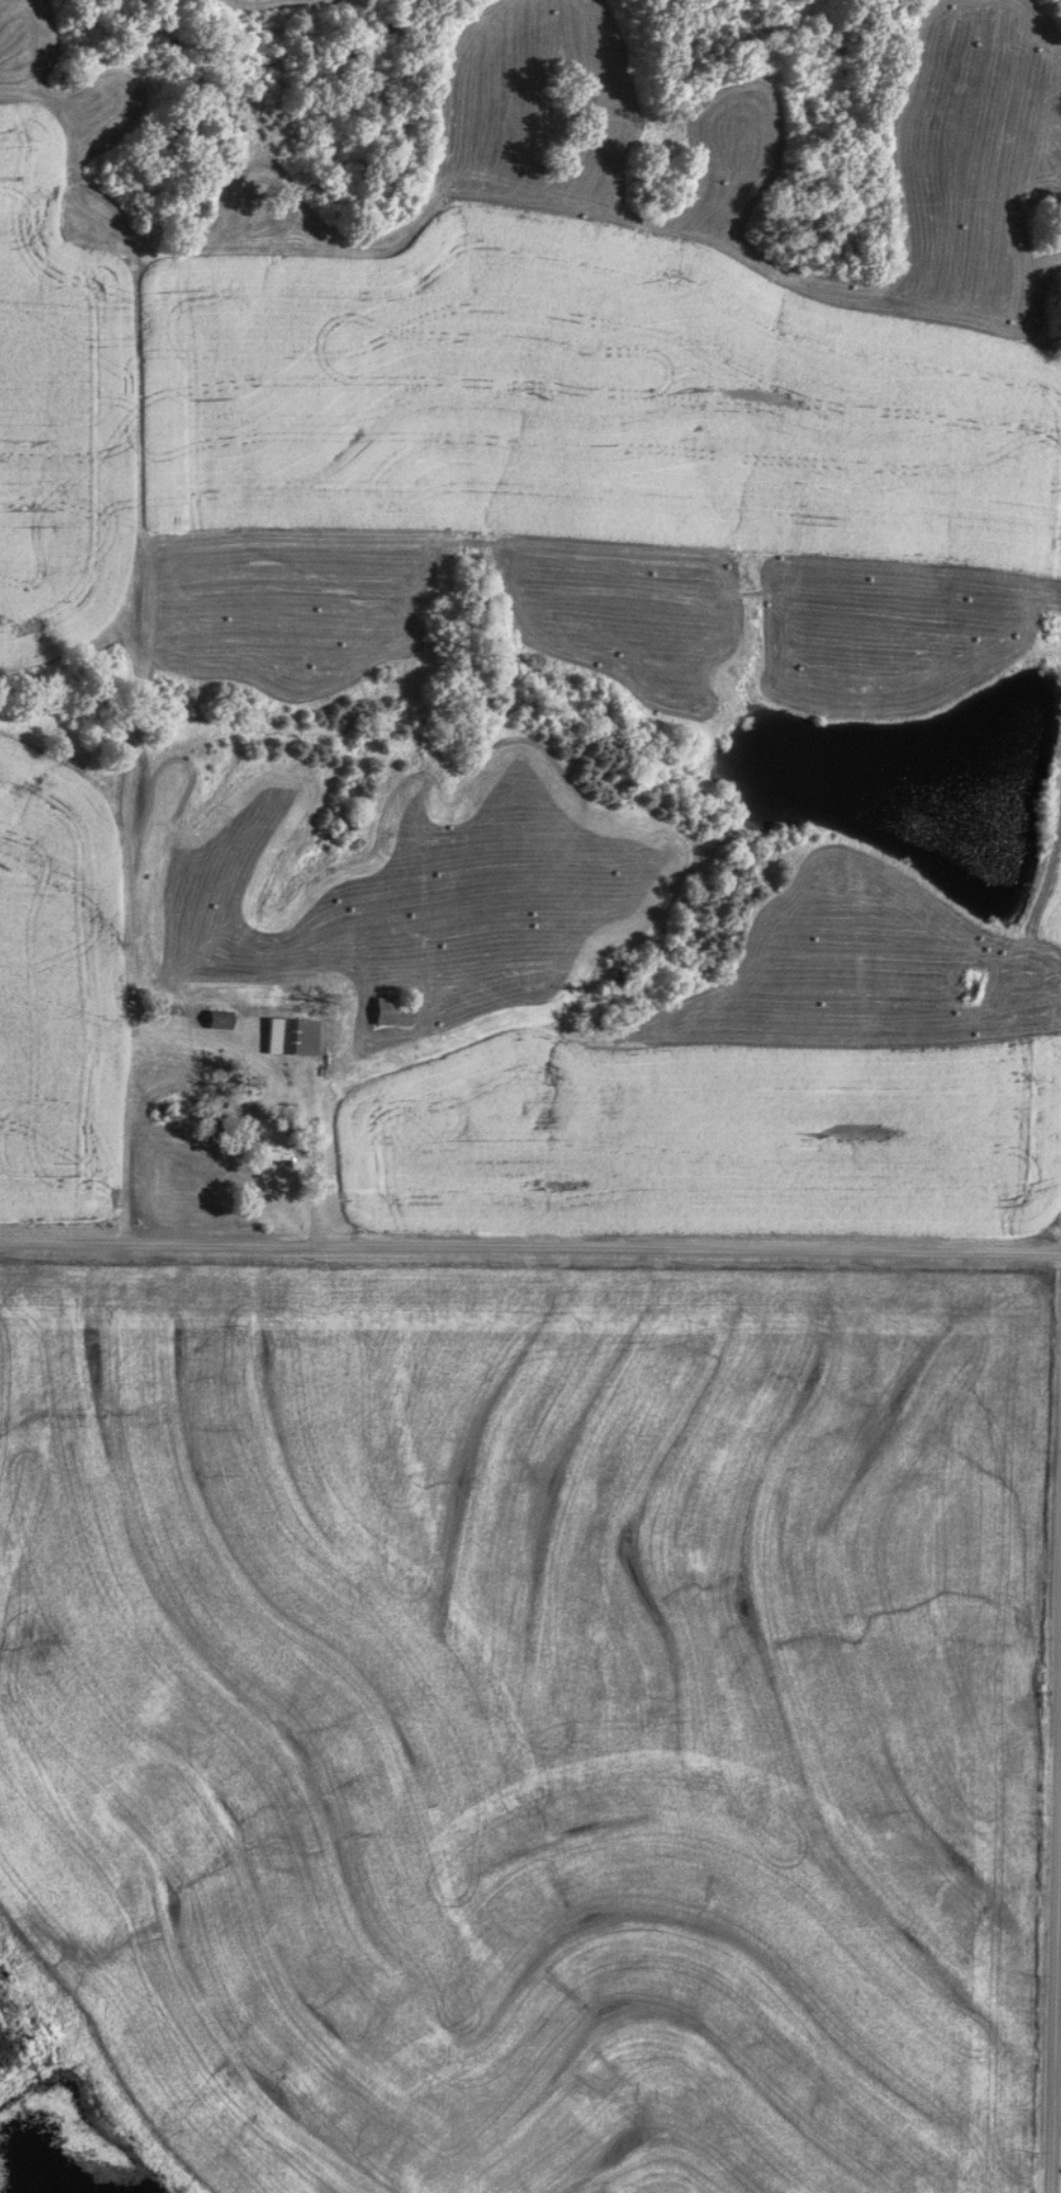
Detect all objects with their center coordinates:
building: (390, 1014)
building: (215, 1021)
building: (293, 1039)
road: (315, 1166)
road: (529, 1248)
road: (1058, 2048)

